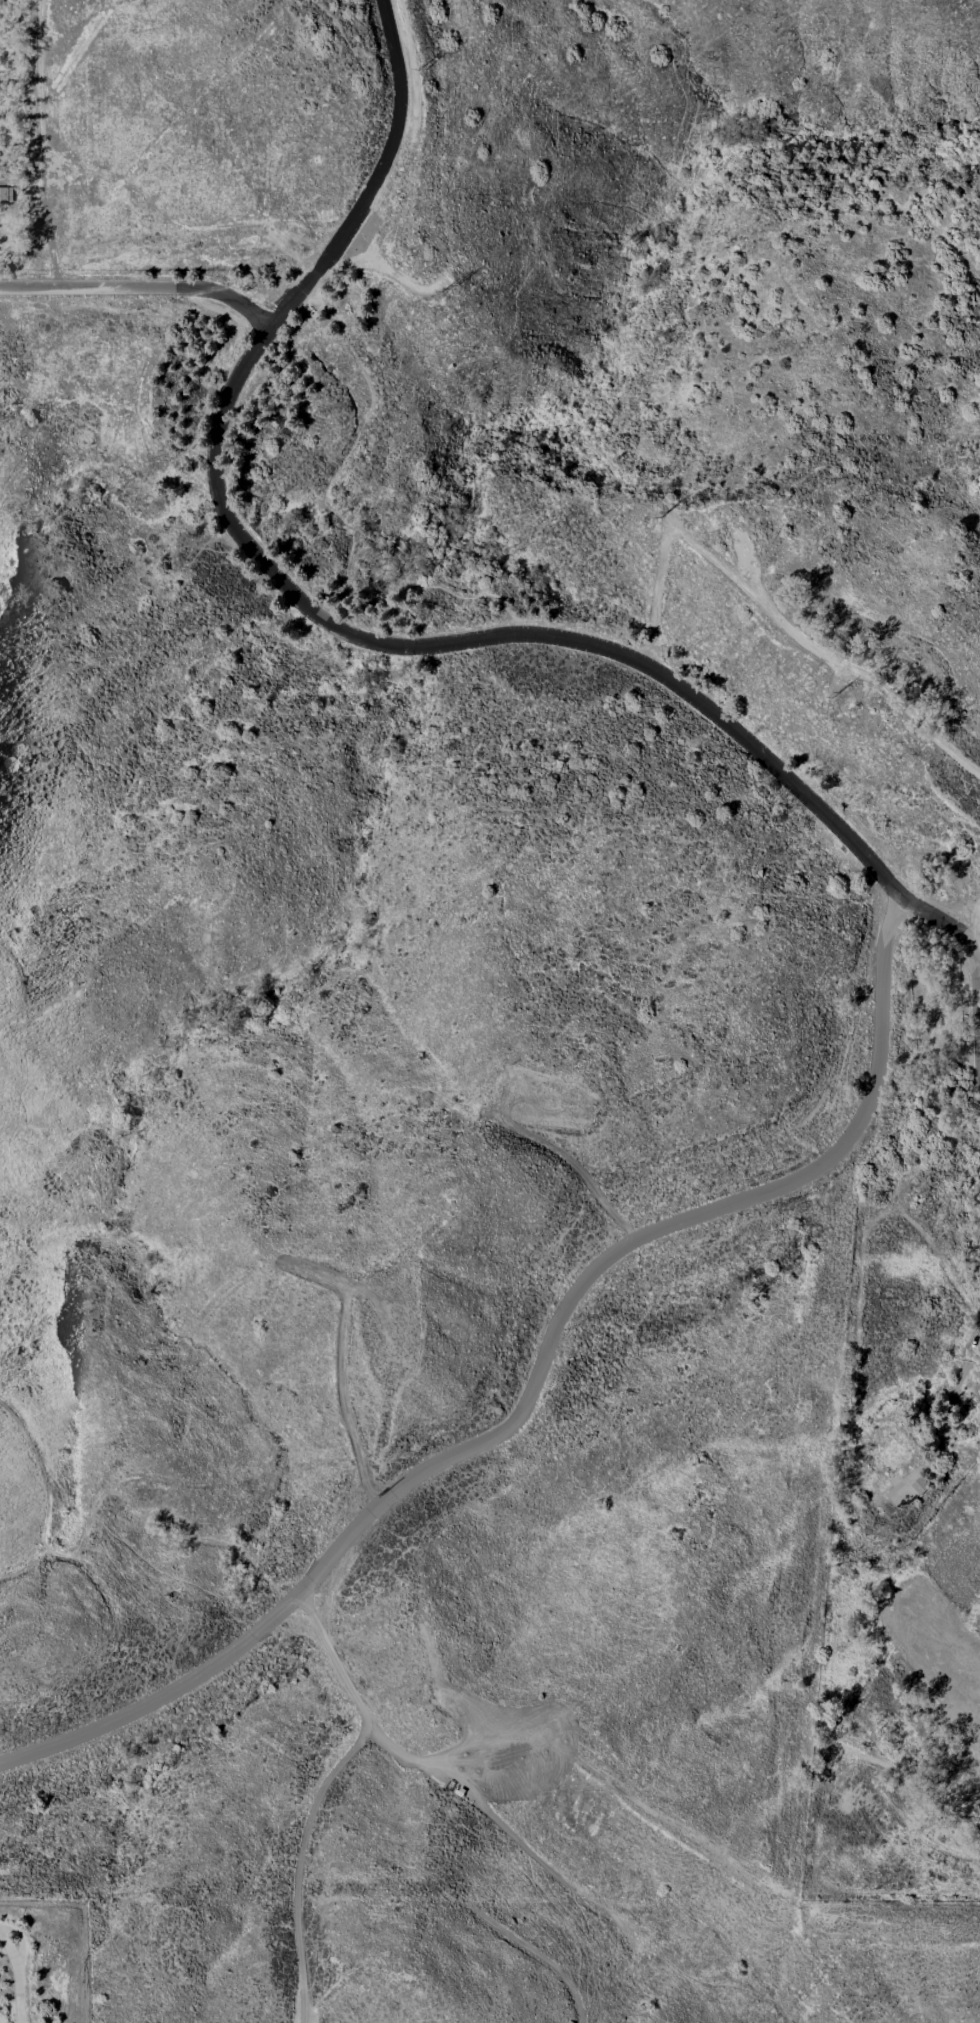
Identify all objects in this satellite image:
road: (388, 270)
road: (139, 288)
road: (311, 608)
road: (941, 923)
road: (19, 988)
road: (535, 1384)
road: (949, 1413)
road: (83, 1544)
road: (22, 1566)
road: (321, 1794)
road: (20, 1972)

